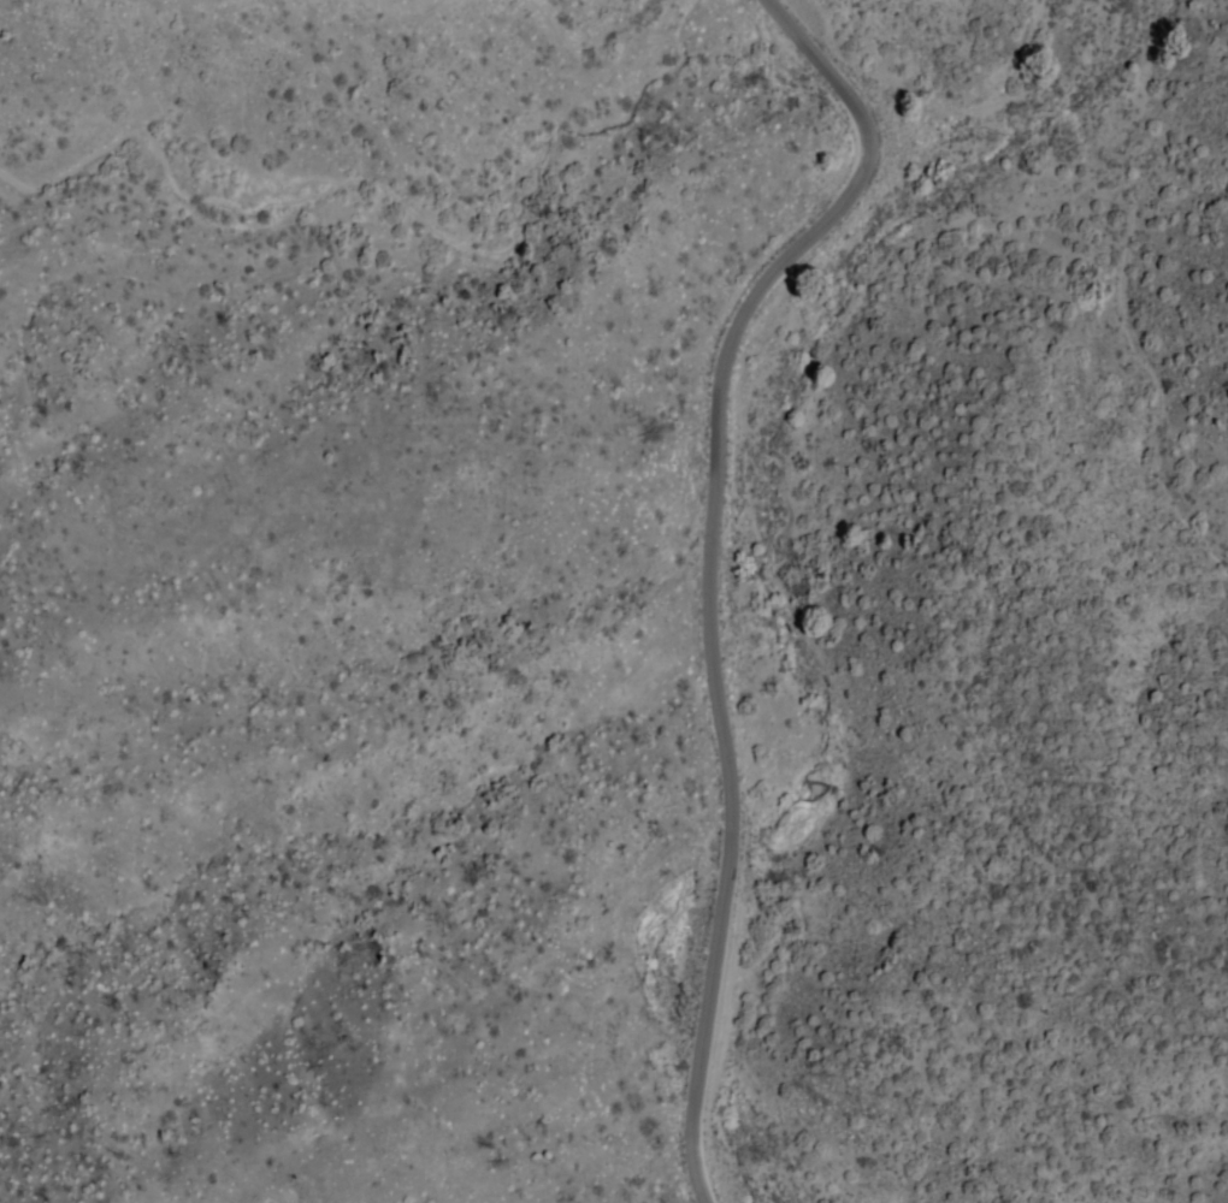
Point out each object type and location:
road: (690, 529)

